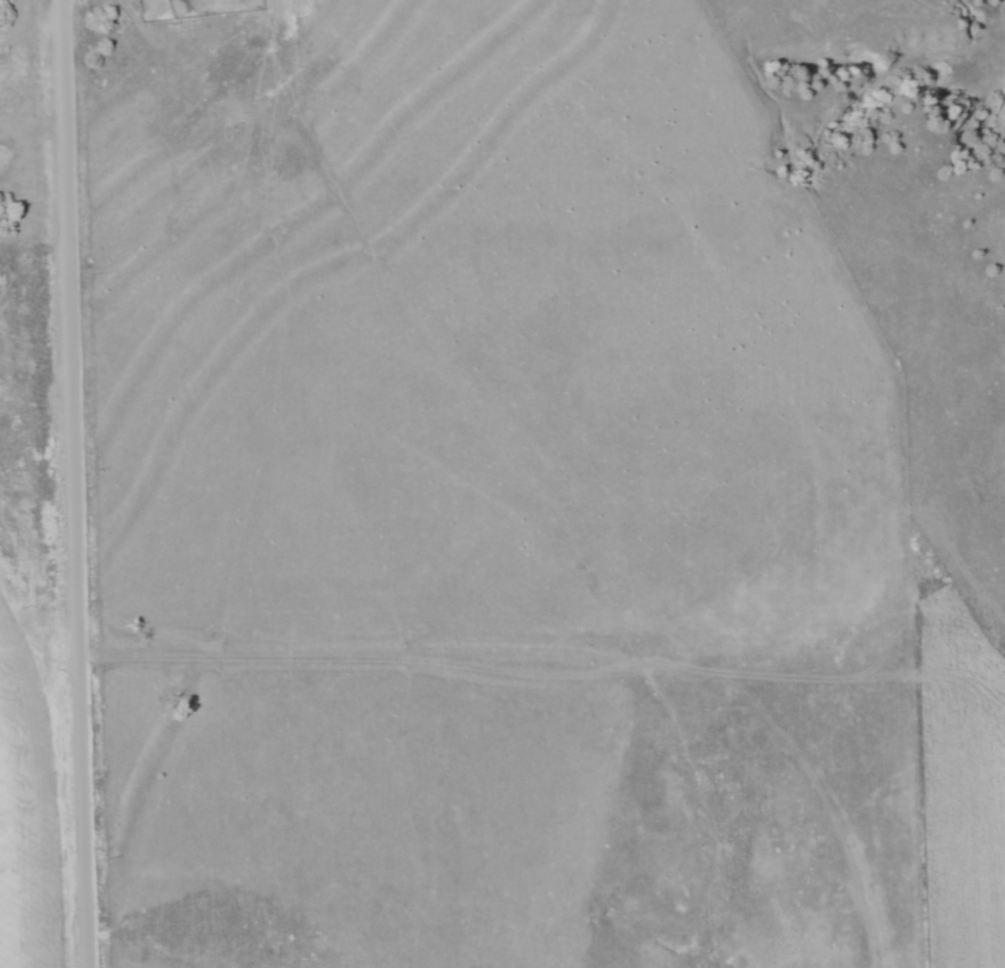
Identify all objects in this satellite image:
road: (73, 484)

